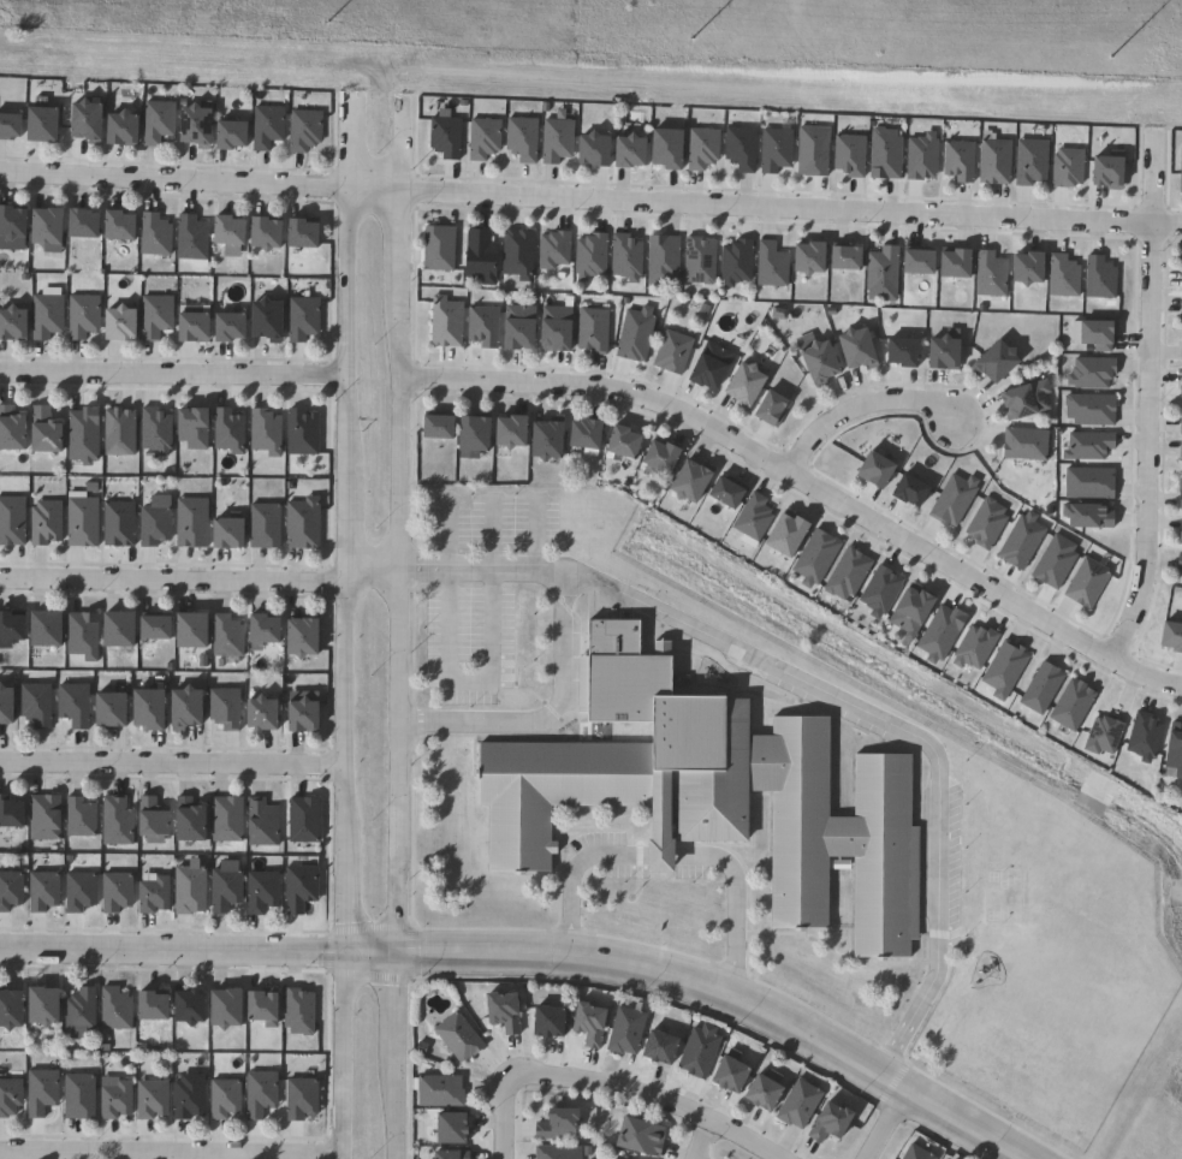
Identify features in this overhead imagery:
power tower: (114, 18)
power tower: (479, 34)
power tower: (841, 49)
building: (81, 120)
building: (153, 121)
building: (26, 124)
building: (188, 126)
building: (262, 126)
building: (114, 130)
building: (299, 130)
building: (222, 135)
building: (444, 137)
building: (481, 138)
building: (519, 138)
building: (556, 139)
road: (348, 141)
road: (397, 142)
building: (701, 148)
building: (740, 148)
building: (663, 149)
building: (592, 150)
building: (773, 150)
building: (813, 150)
building: (625, 153)
building: (884, 154)
building: (849, 155)
building: (957, 161)
building: (993, 162)
building: (1029, 162)
building: (1067, 167)
building: (1109, 172)
building: (1181, 172)
road: (590, 198)
building: (7, 224)
building: (73, 224)
building: (111, 226)
building: (37, 227)
building: (220, 231)
building: (256, 234)
building: (293, 234)
building: (149, 236)
building: (186, 238)
building: (436, 249)
building: (553, 249)
building: (516, 254)
building: (479, 256)
building: (589, 256)
building: (625, 257)
building: (809, 257)
building: (661, 258)
building: (845, 258)
building: (699, 261)
building: (736, 262)
building: (919, 262)
building: (955, 263)
building: (771, 265)
building: (1028, 267)
building: (881, 269)
building: (1181, 273)
building: (991, 274)
building: (1063, 277)
building: (1099, 278)
building: (1181, 302)
building: (48, 316)
building: (79, 316)
building: (150, 317)
building: (298, 319)
building: (259, 320)
building: (16, 323)
building: (444, 323)
building: (112, 325)
building: (481, 326)
building: (515, 327)
building: (185, 328)
building: (221, 328)
building: (590, 329)
building: (1097, 334)
building: (854, 350)
building: (671, 351)
building: (902, 352)
building: (1181, 353)
building: (940, 355)
building: (993, 363)
building: (816, 364)
building: (707, 367)
road: (172, 375)
building: (741, 386)
building: (1180, 392)
road: (1145, 399)
building: (1026, 400)
road: (860, 406)
building: (770, 408)
building: (1180, 427)
building: (189, 428)
building: (433, 428)
building: (14, 429)
building: (49, 430)
building: (152, 432)
building: (224, 432)
building: (114, 433)
building: (261, 433)
building: (297, 433)
building: (506, 433)
building: (470, 435)
building: (584, 435)
building: (546, 440)
building: (623, 442)
building: (1023, 445)
building: (1180, 450)
building: (660, 457)
building: (875, 471)
building: (689, 481)
road: (803, 483)
building: (910, 492)
building: (723, 494)
building: (1178, 499)
building: (954, 500)
building: (753, 517)
building: (10, 521)
building: (78, 522)
building: (41, 523)
building: (188, 523)
building: (299, 524)
building: (986, 524)
building: (114, 525)
building: (149, 525)
building: (259, 527)
road: (534, 530)
building: (1181, 531)
building: (222, 535)
building: (786, 535)
building: (1021, 541)
building: (815, 558)
building: (1055, 563)
building: (1178, 563)
road: (344, 570)
road: (396, 571)
building: (847, 575)
road: (197, 581)
building: (1087, 583)
building: (880, 592)
building: (911, 613)
building: (8, 628)
building: (150, 629)
building: (40, 630)
building: (113, 631)
building: (185, 631)
building: (256, 631)
building: (221, 636)
building: (1171, 637)
building: (293, 638)
building: (974, 648)
building: (1004, 671)
road: (468, 682)
road: (824, 696)
building: (70, 703)
building: (37, 706)
building: (177, 706)
building: (8, 707)
building: (139, 707)
building: (219, 707)
building: (101, 708)
building: (253, 712)
building: (293, 713)
road: (550, 721)
building: (1145, 738)
building: (1174, 748)
road: (171, 766)
building: (711, 792)
building: (13, 814)
building: (40, 815)
building: (75, 816)
building: (145, 816)
building: (221, 818)
building: (182, 819)
building: (298, 819)
building: (111, 820)
building: (257, 822)
road: (669, 852)
building: (7, 888)
building: (219, 888)
building: (296, 888)
building: (37, 890)
building: (183, 890)
building: (75, 891)
building: (109, 891)
building: (256, 891)
building: (148, 894)
road: (170, 949)
traffic signals: (340, 951)
road: (367, 951)
traffic signals: (394, 952)
road: (160, 971)
road: (730, 995)
building: (34, 1005)
building: (143, 1005)
building: (180, 1006)
building: (216, 1008)
building: (5, 1009)
building: (109, 1009)
building: (75, 1011)
building: (499, 1011)
building: (259, 1017)
building: (544, 1021)
building: (584, 1023)
building: (623, 1030)
building: (456, 1036)
building: (655, 1046)
building: (696, 1053)
road: (340, 1054)
road: (393, 1056)
building: (726, 1071)
building: (438, 1090)
building: (36, 1092)
building: (759, 1092)
building: (254, 1093)
road: (649, 1094)
building: (6, 1095)
building: (73, 1096)
building: (183, 1096)
building: (108, 1098)
building: (219, 1098)
building: (296, 1098)
building: (145, 1099)
building: (797, 1104)
road: (499, 1117)
building: (826, 1122)
road: (883, 1122)
building: (554, 1124)
building: (446, 1128)
building: (637, 1137)
road: (701, 1140)
road: (247, 1142)
road: (170, 1152)
building: (556, 1152)
building: (914, 1153)
building: (447, 1154)

